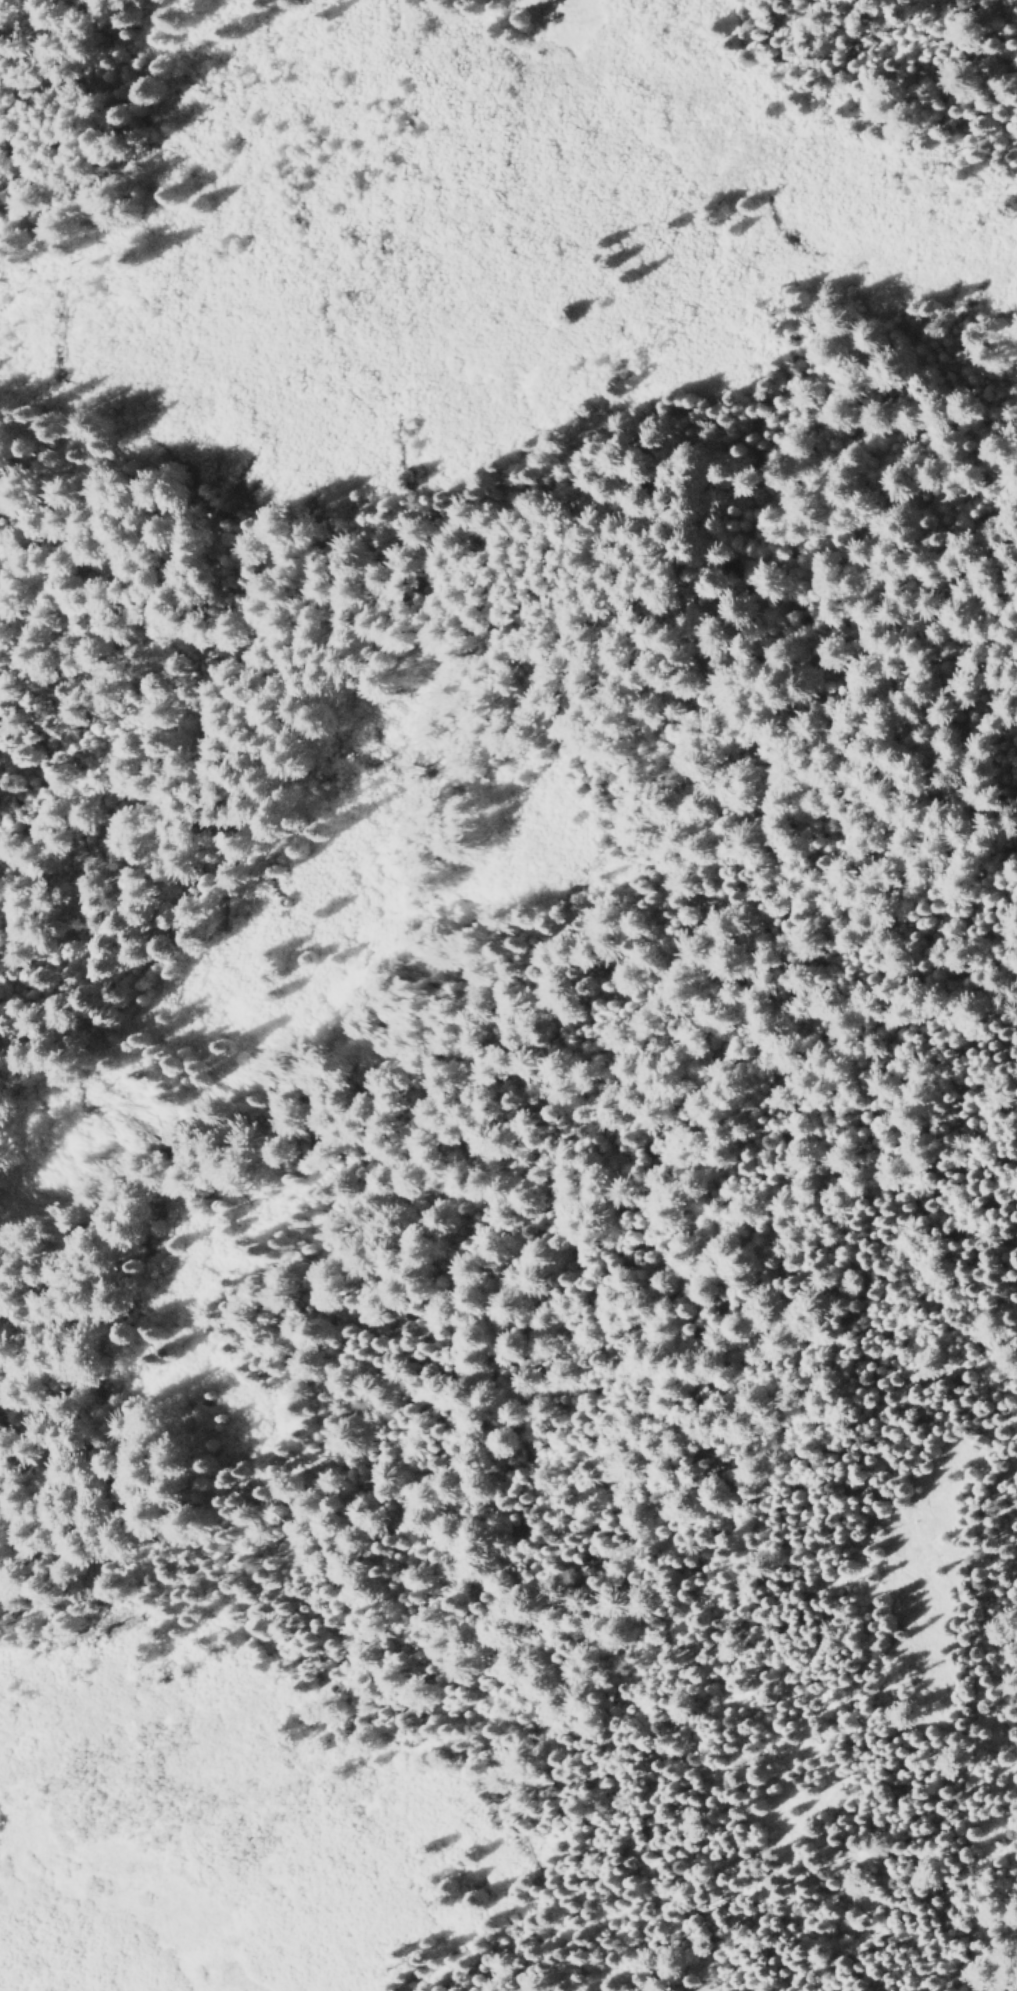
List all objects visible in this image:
road: (1009, 1884)

